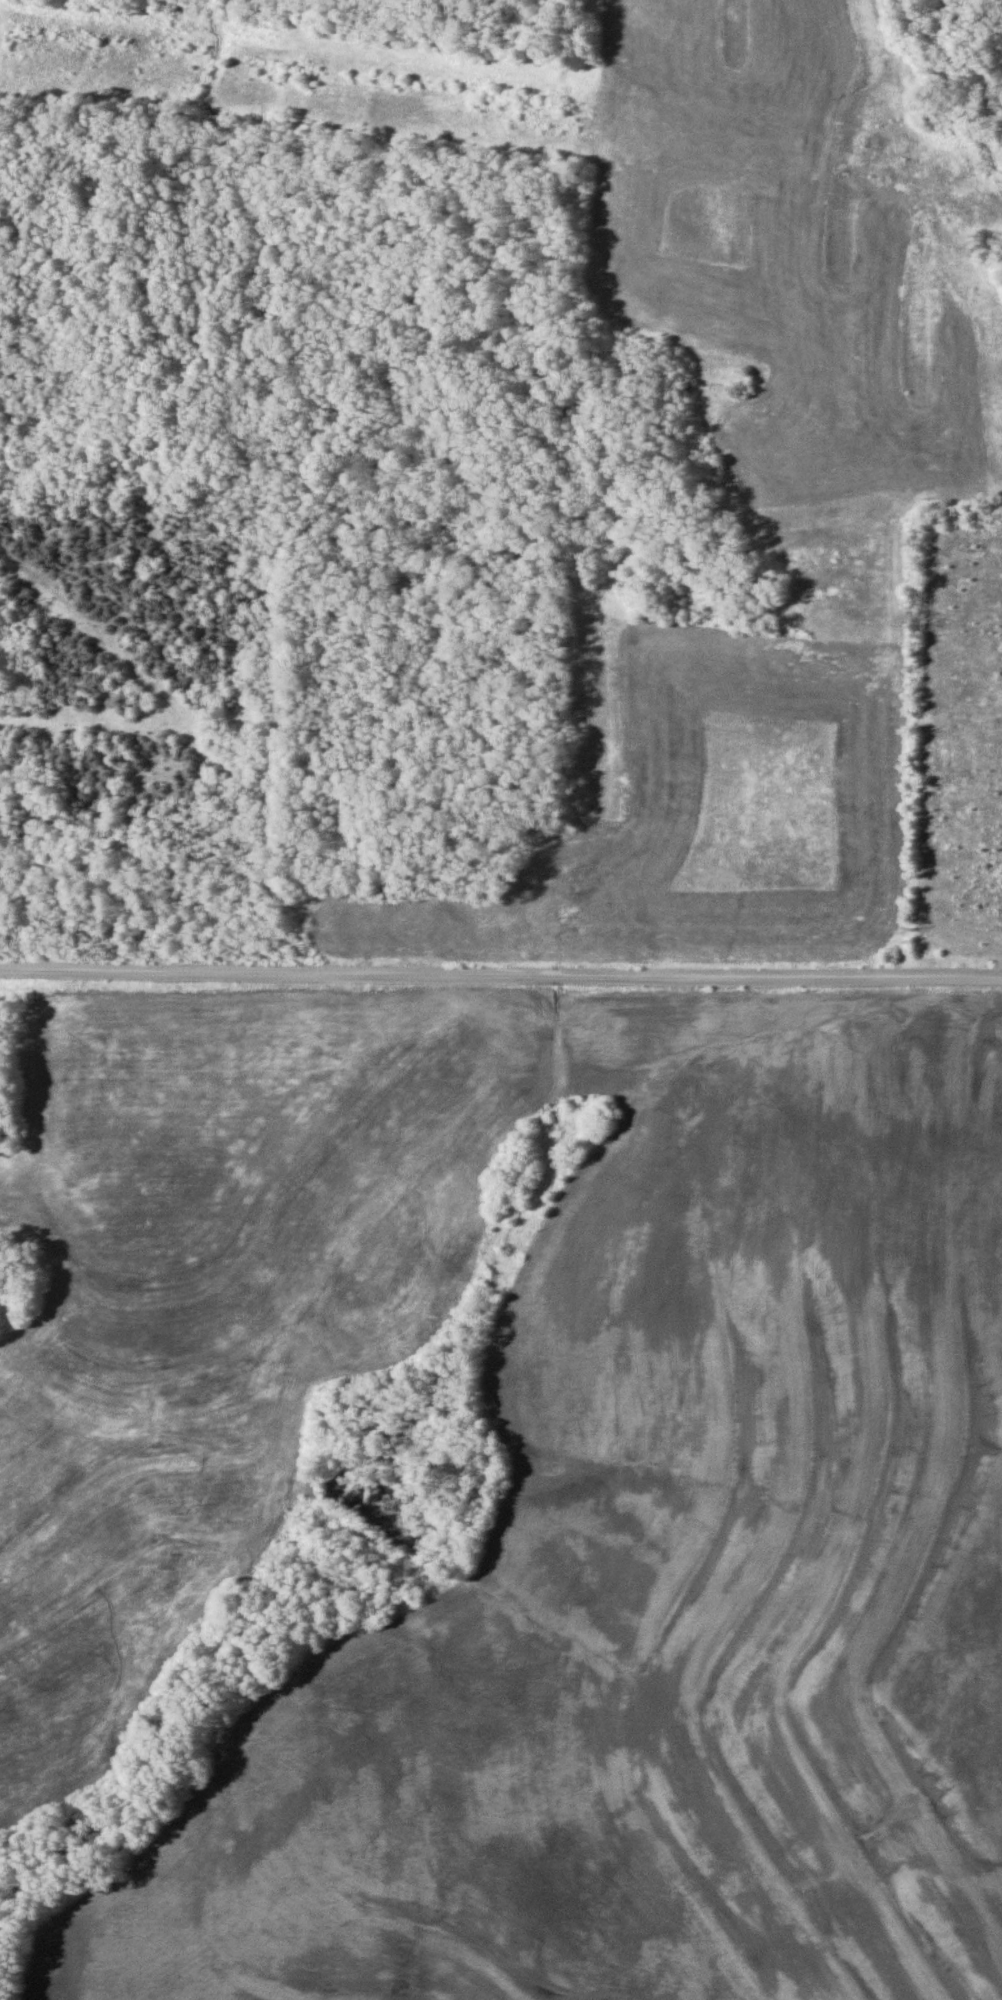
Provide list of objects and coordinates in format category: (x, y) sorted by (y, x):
road: (500, 978)

